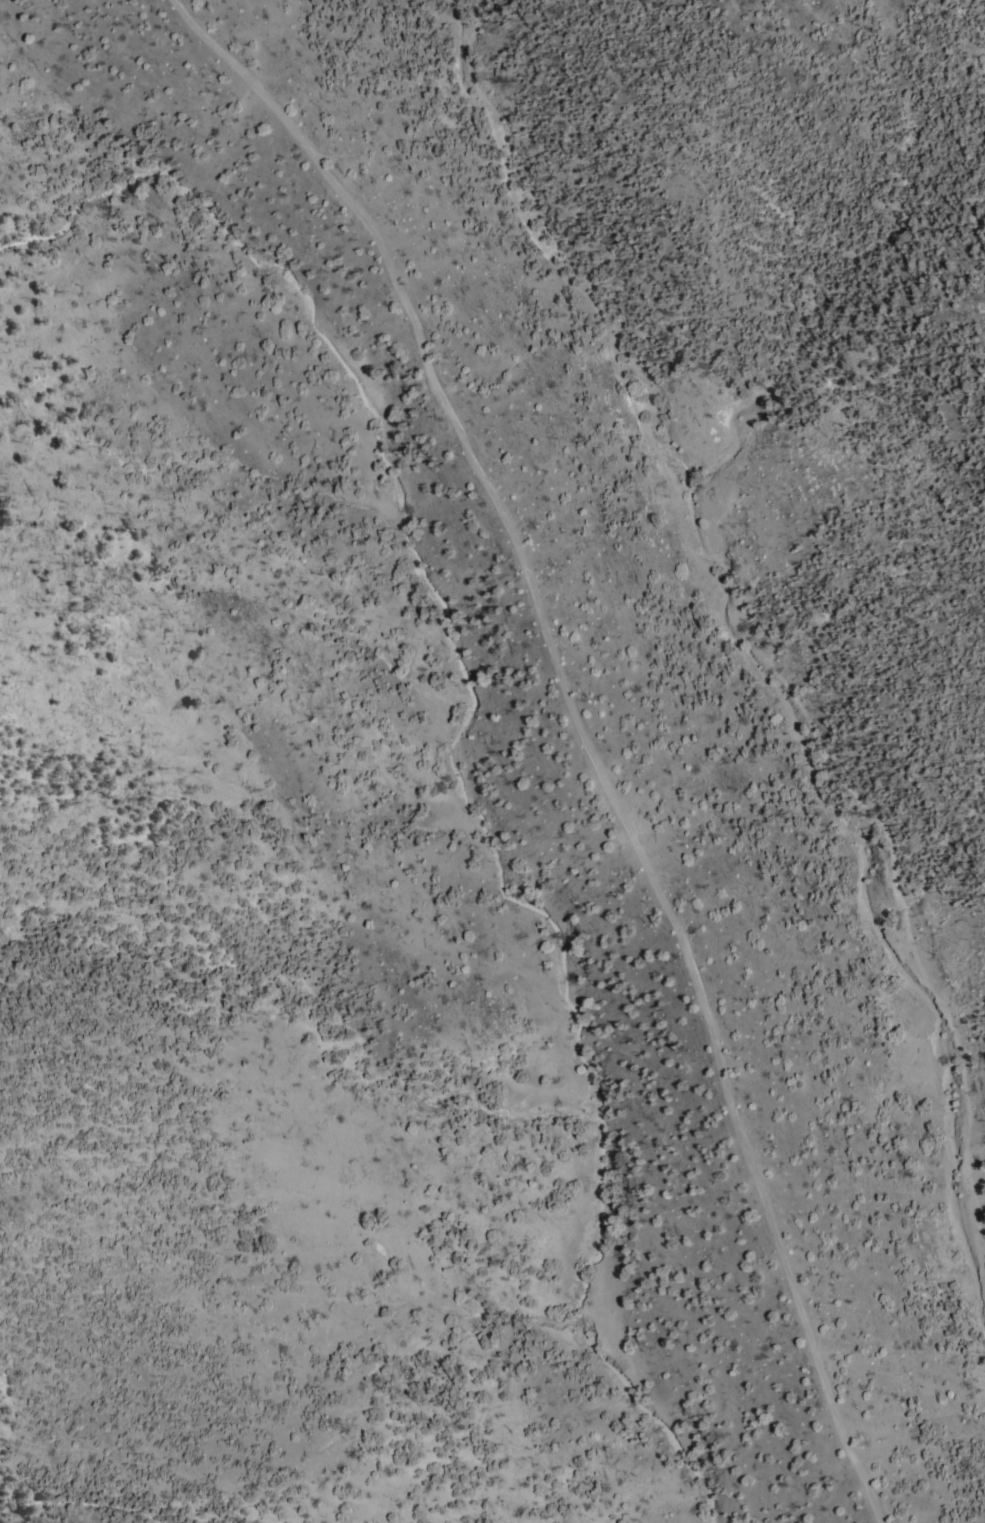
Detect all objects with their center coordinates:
road: (585, 732)

